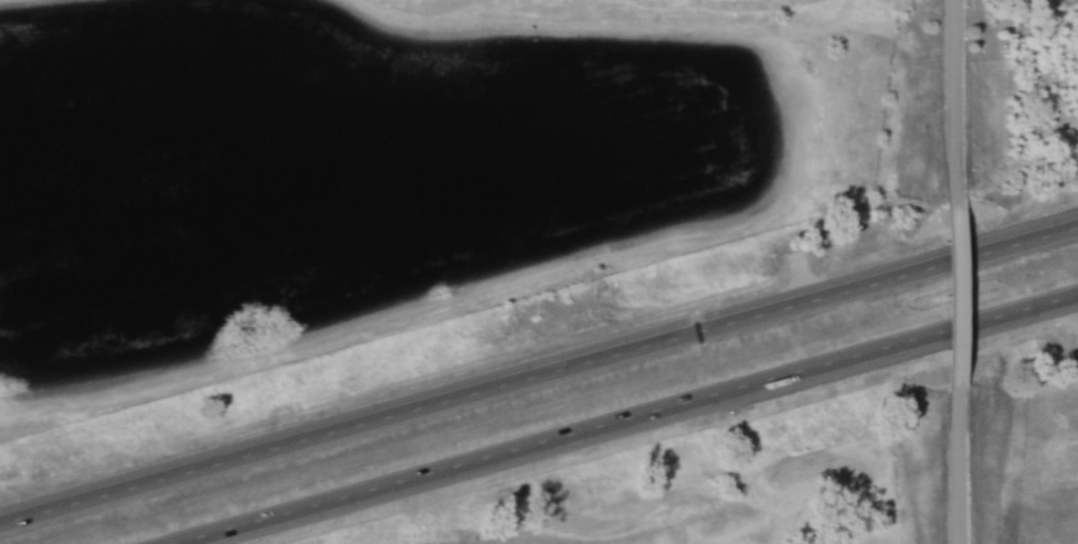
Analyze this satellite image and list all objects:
road: (942, 102)
road: (942, 296)
road: (538, 377)
road: (636, 422)
road: (948, 467)

